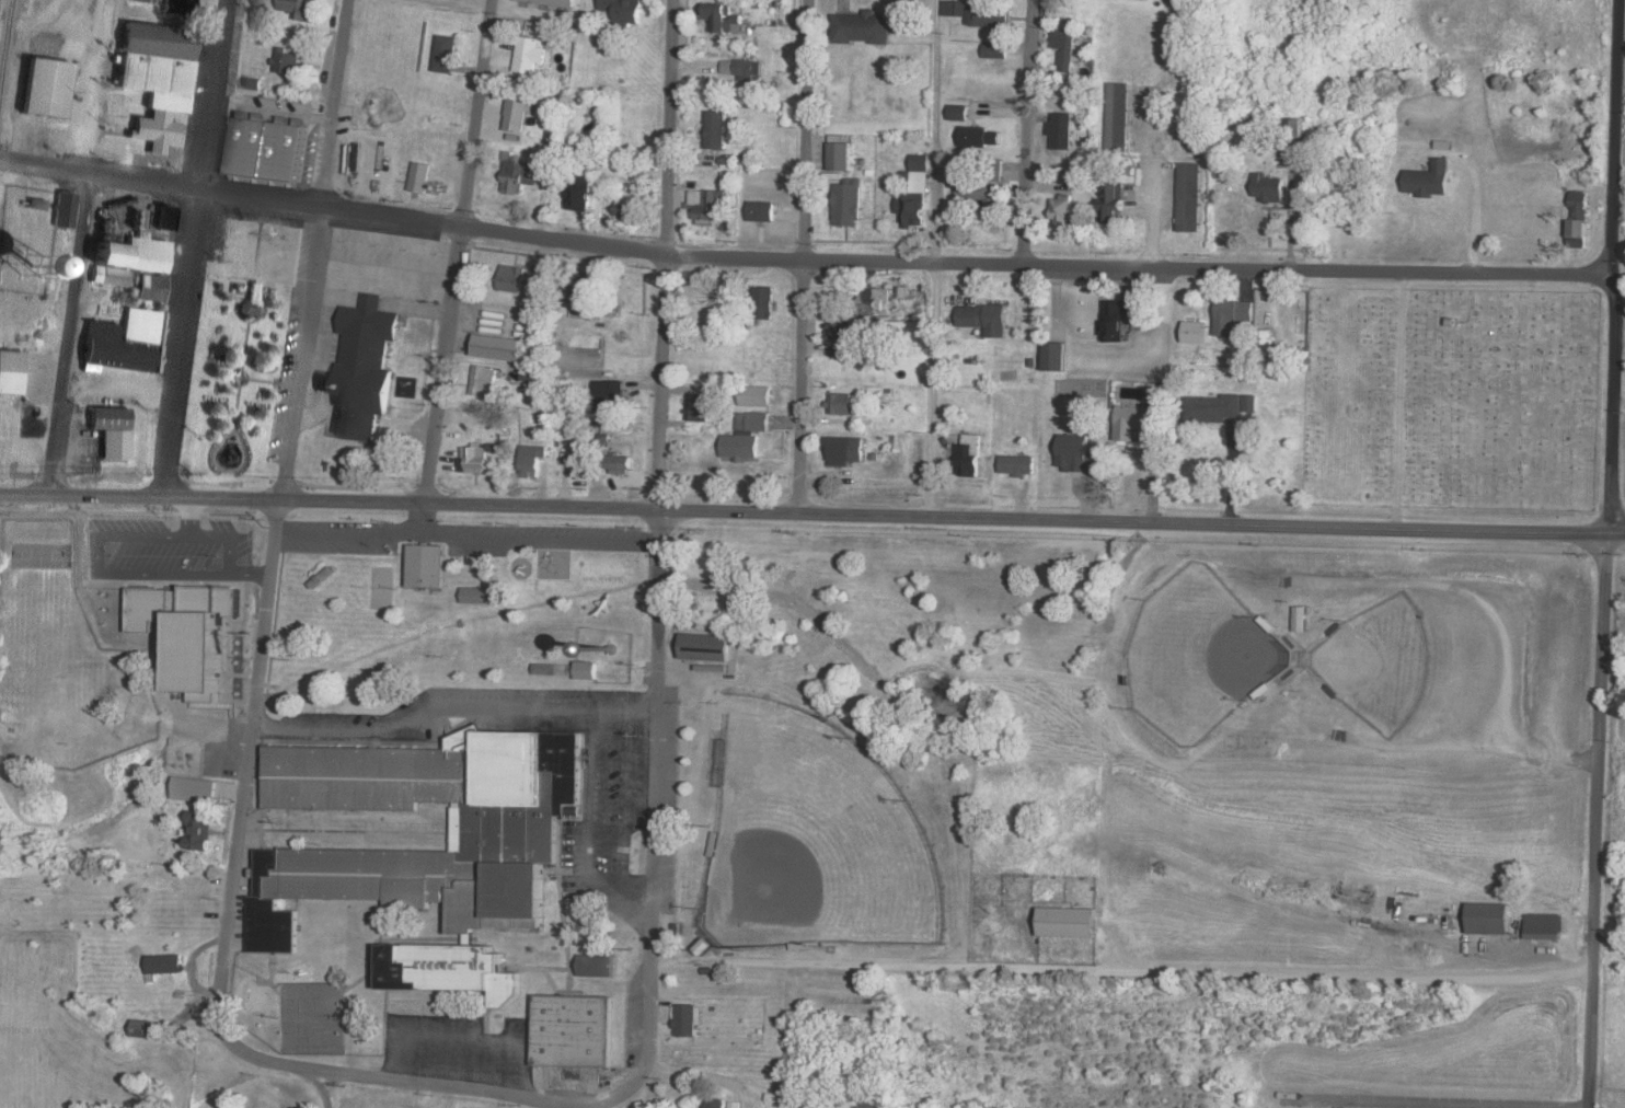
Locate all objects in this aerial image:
building: (139, 1)
building: (553, 3)
building: (177, 7)
building: (954, 8)
building: (299, 9)
building: (625, 10)
building: (988, 16)
building: (723, 18)
building: (862, 27)
railway: (7, 43)
building: (1064, 48)
building: (995, 50)
building: (446, 54)
building: (529, 56)
building: (286, 61)
building: (744, 70)
building: (155, 79)
building: (252, 83)
building: (45, 89)
building: (959, 112)
building: (517, 113)
building: (1118, 117)
building: (717, 130)
building: (1061, 130)
road: (1030, 132)
building: (981, 137)
building: (270, 150)
building: (840, 157)
building: (419, 177)
building: (1429, 180)
road: (1151, 185)
building: (1269, 188)
building: (581, 193)
building: (915, 195)
building: (982, 195)
building: (1189, 197)
building: (849, 203)
building: (1114, 203)
building: (706, 205)
building: (630, 206)
building: (62, 210)
building: (762, 211)
building: (1063, 211)
building: (1578, 219)
road: (1470, 228)
road: (191, 246)
road: (76, 247)
road: (315, 249)
road: (456, 250)
road: (665, 255)
building: (126, 259)
road: (807, 259)
road: (800, 264)
building: (32, 273)
building: (511, 278)
building: (149, 289)
building: (585, 290)
building: (872, 301)
building: (764, 302)
building: (249, 309)
building: (1233, 315)
building: (1119, 318)
building: (984, 319)
building: (842, 332)
building: (1195, 332)
building: (1268, 339)
building: (125, 343)
building: (500, 348)
building: (1054, 357)
building: (362, 370)
building: (10, 372)
building: (533, 374)
building: (484, 381)
building: (609, 395)
building: (756, 395)
park: (1451, 400)
road: (1399, 401)
building: (840, 403)
building: (1249, 403)
building: (699, 407)
building: (1212, 408)
building: (1134, 422)
building: (111, 432)
building: (746, 437)
building: (845, 450)
building: (391, 451)
building: (1077, 454)
building: (968, 457)
building: (473, 459)
building: (531, 460)
building: (577, 463)
building: (621, 464)
building: (1017, 465)
road: (811, 519)
road: (420, 520)
road: (464, 540)
road: (1604, 553)
building: (426, 566)
road: (1457, 593)
building: (479, 596)
building: (1299, 619)
building: (186, 631)
building: (705, 648)
park: (1197, 656)
park: (1374, 660)
building: (554, 668)
building: (587, 669)
road: (1442, 747)
road: (249, 759)
building: (192, 784)
road: (654, 811)
building: (199, 829)
park: (812, 840)
building: (402, 875)
building: (1490, 917)
building: (1069, 921)
building: (1544, 925)
road: (1491, 944)
building: (704, 945)
building: (165, 962)
building: (598, 965)
road: (1108, 968)
building: (688, 1018)
building: (141, 1027)
building: (574, 1029)
road: (406, 1074)
road: (330, 1088)
building: (873, 1098)
road: (1390, 1101)
building: (715, 1103)

